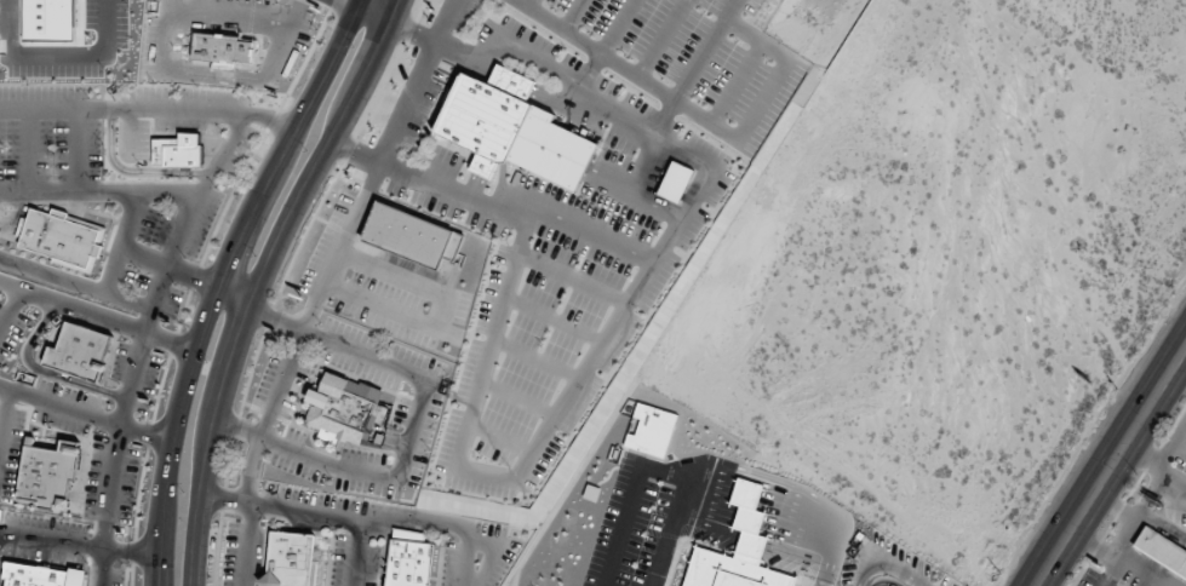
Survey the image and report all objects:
road: (340, 1)
road: (380, 7)
road: (445, 21)
building: (38, 23)
road: (52, 65)
road: (643, 81)
road: (409, 94)
road: (148, 111)
building: (512, 128)
road: (127, 133)
road: (28, 151)
road: (76, 151)
building: (178, 151)
road: (355, 151)
road: (325, 154)
road: (133, 172)
building: (676, 182)
road: (98, 193)
building: (411, 236)
building: (61, 239)
road: (121, 245)
road: (168, 266)
road: (219, 280)
road: (76, 285)
road: (233, 297)
road: (11, 306)
road: (439, 314)
road: (96, 316)
road: (143, 340)
road: (340, 344)
road: (297, 345)
building: (79, 352)
road: (42, 372)
power tower: (1116, 389)
road: (4, 406)
building: (348, 410)
road: (84, 413)
building: (649, 429)
road: (1173, 443)
road: (207, 444)
road: (1156, 463)
road: (1111, 465)
building: (46, 472)
road: (350, 472)
road: (709, 494)
road: (632, 501)
road: (743, 504)
road: (287, 511)
building: (747, 521)
road: (803, 522)
road: (445, 527)
road: (0, 535)
road: (0, 535)
road: (668, 536)
road: (78, 546)
road: (247, 546)
building: (1159, 550)
road: (356, 553)
road: (493, 555)
building: (408, 559)
building: (292, 561)
building: (730, 571)
road: (829, 571)
power tower: (999, 574)
building: (40, 575)

